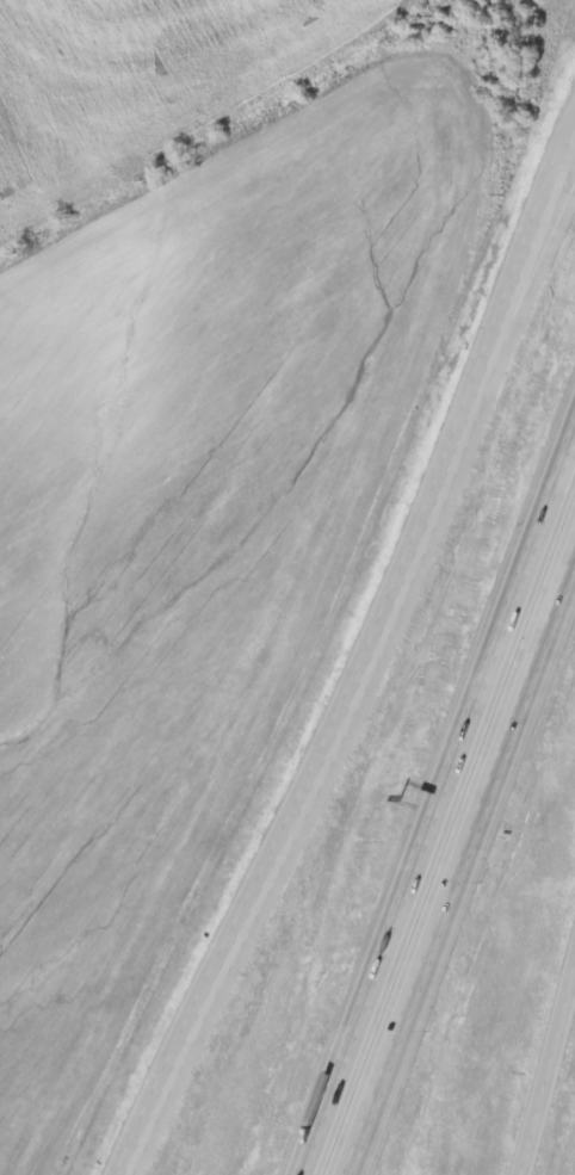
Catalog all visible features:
road: (513, 332)
road: (369, 657)
road: (437, 794)
road: (460, 861)
road: (544, 1060)

